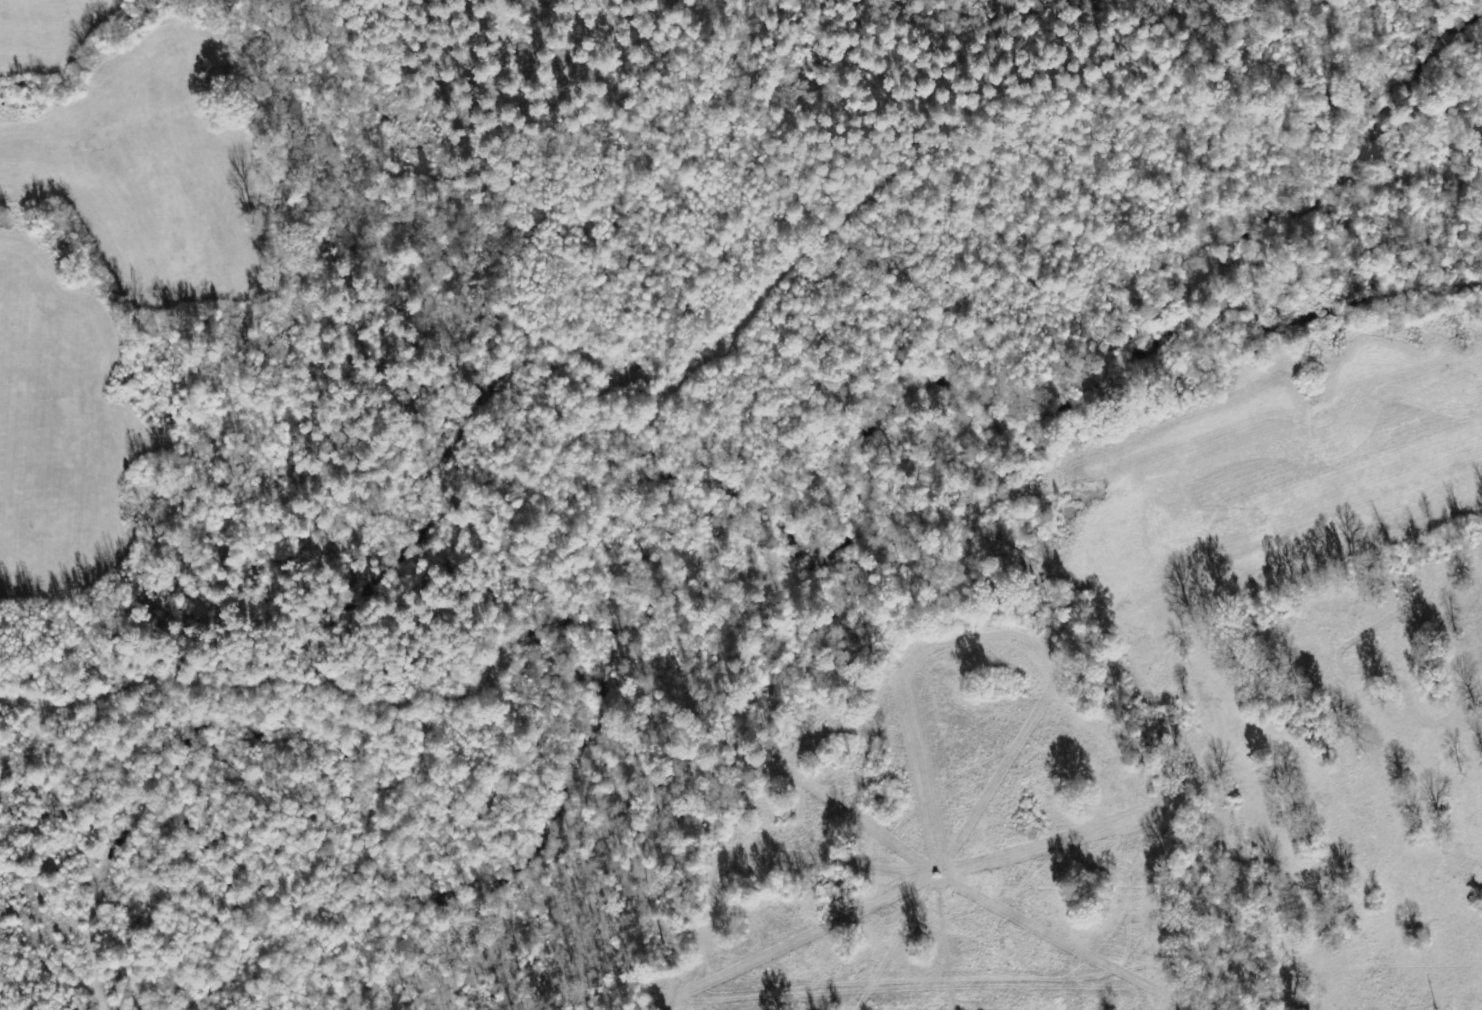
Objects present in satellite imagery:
road: (84, 797)

